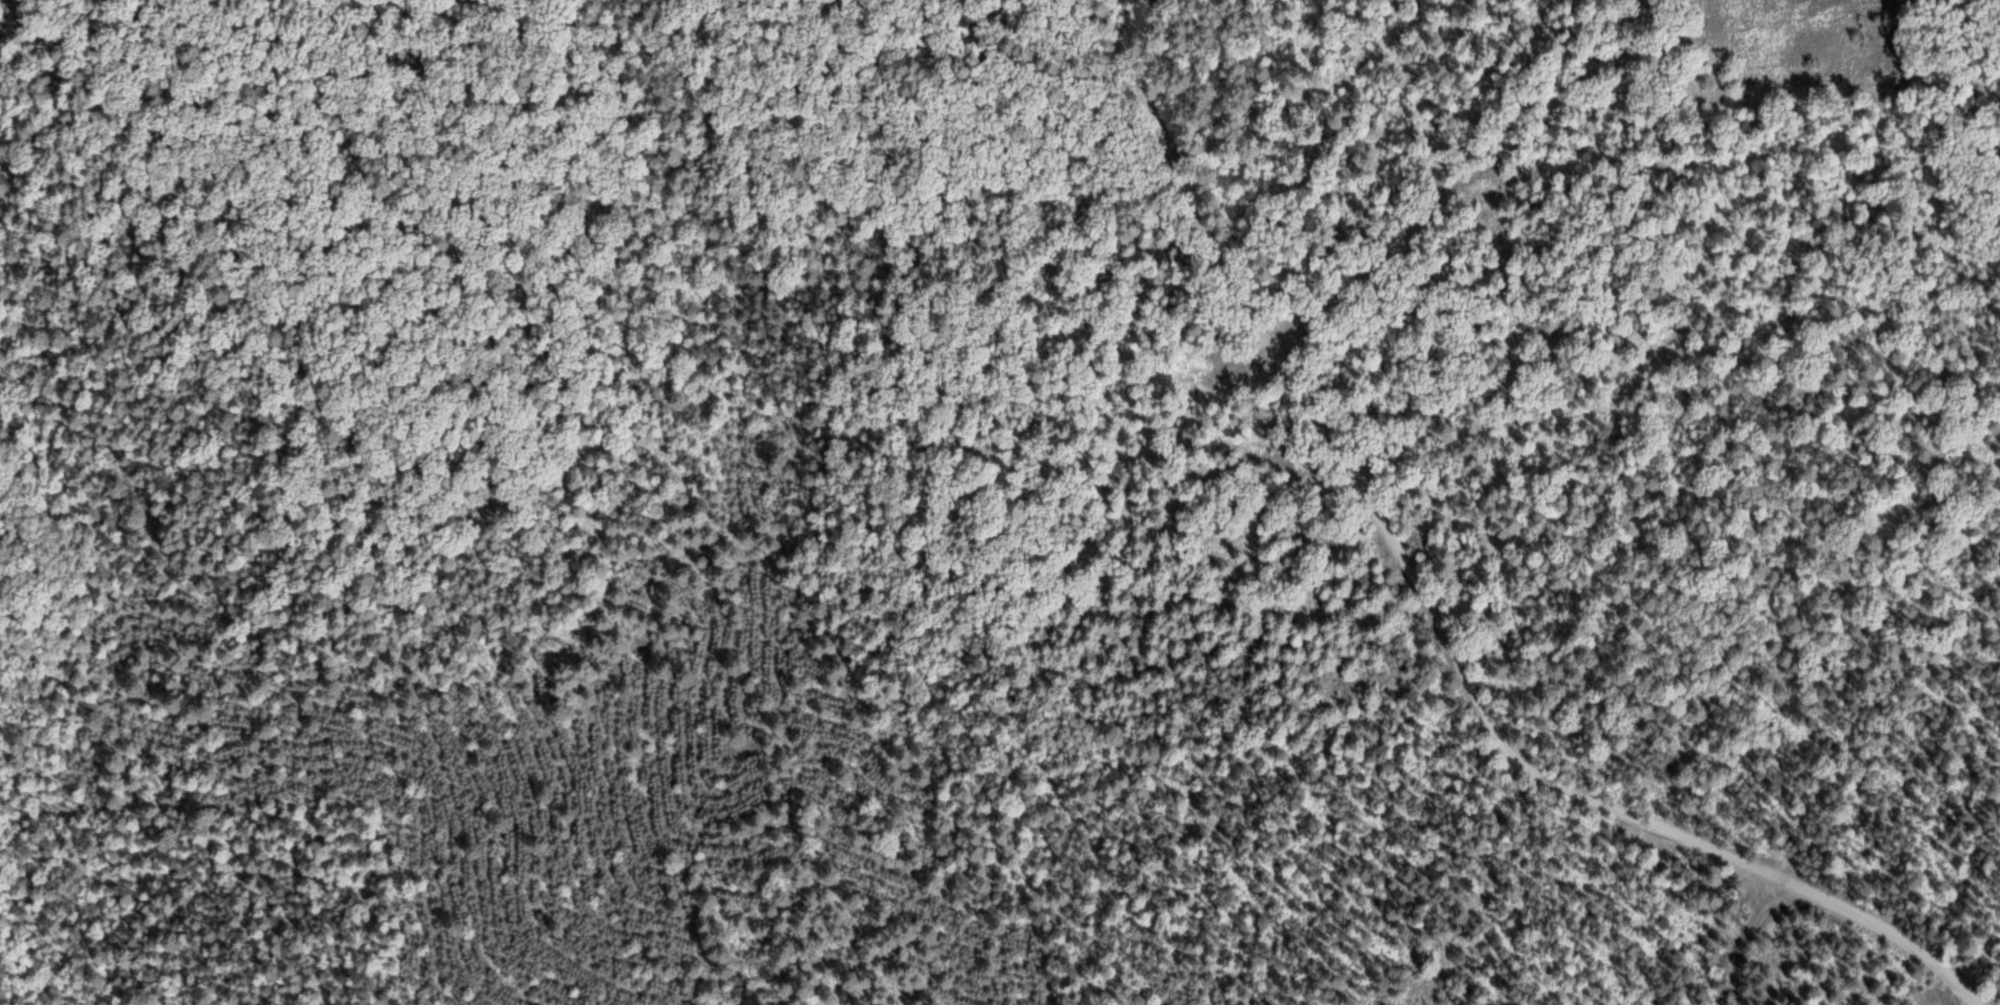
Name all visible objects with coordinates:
road: (1989, 39)
road: (1547, 104)
road: (1201, 527)
road: (1430, 609)
road: (883, 981)

